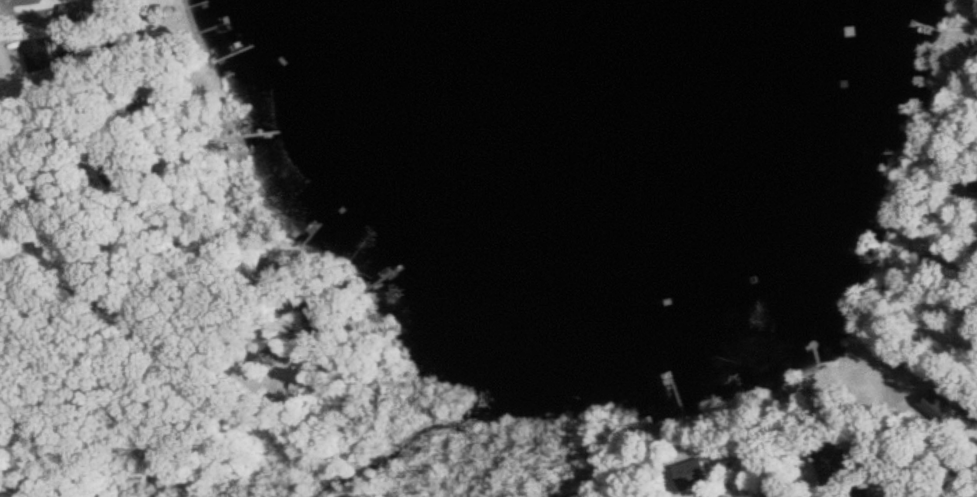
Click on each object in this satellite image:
building: (111, 7)
building: (72, 13)
road: (13, 113)
road: (187, 344)
road: (363, 469)
road: (748, 486)
road: (381, 487)
road: (972, 487)

